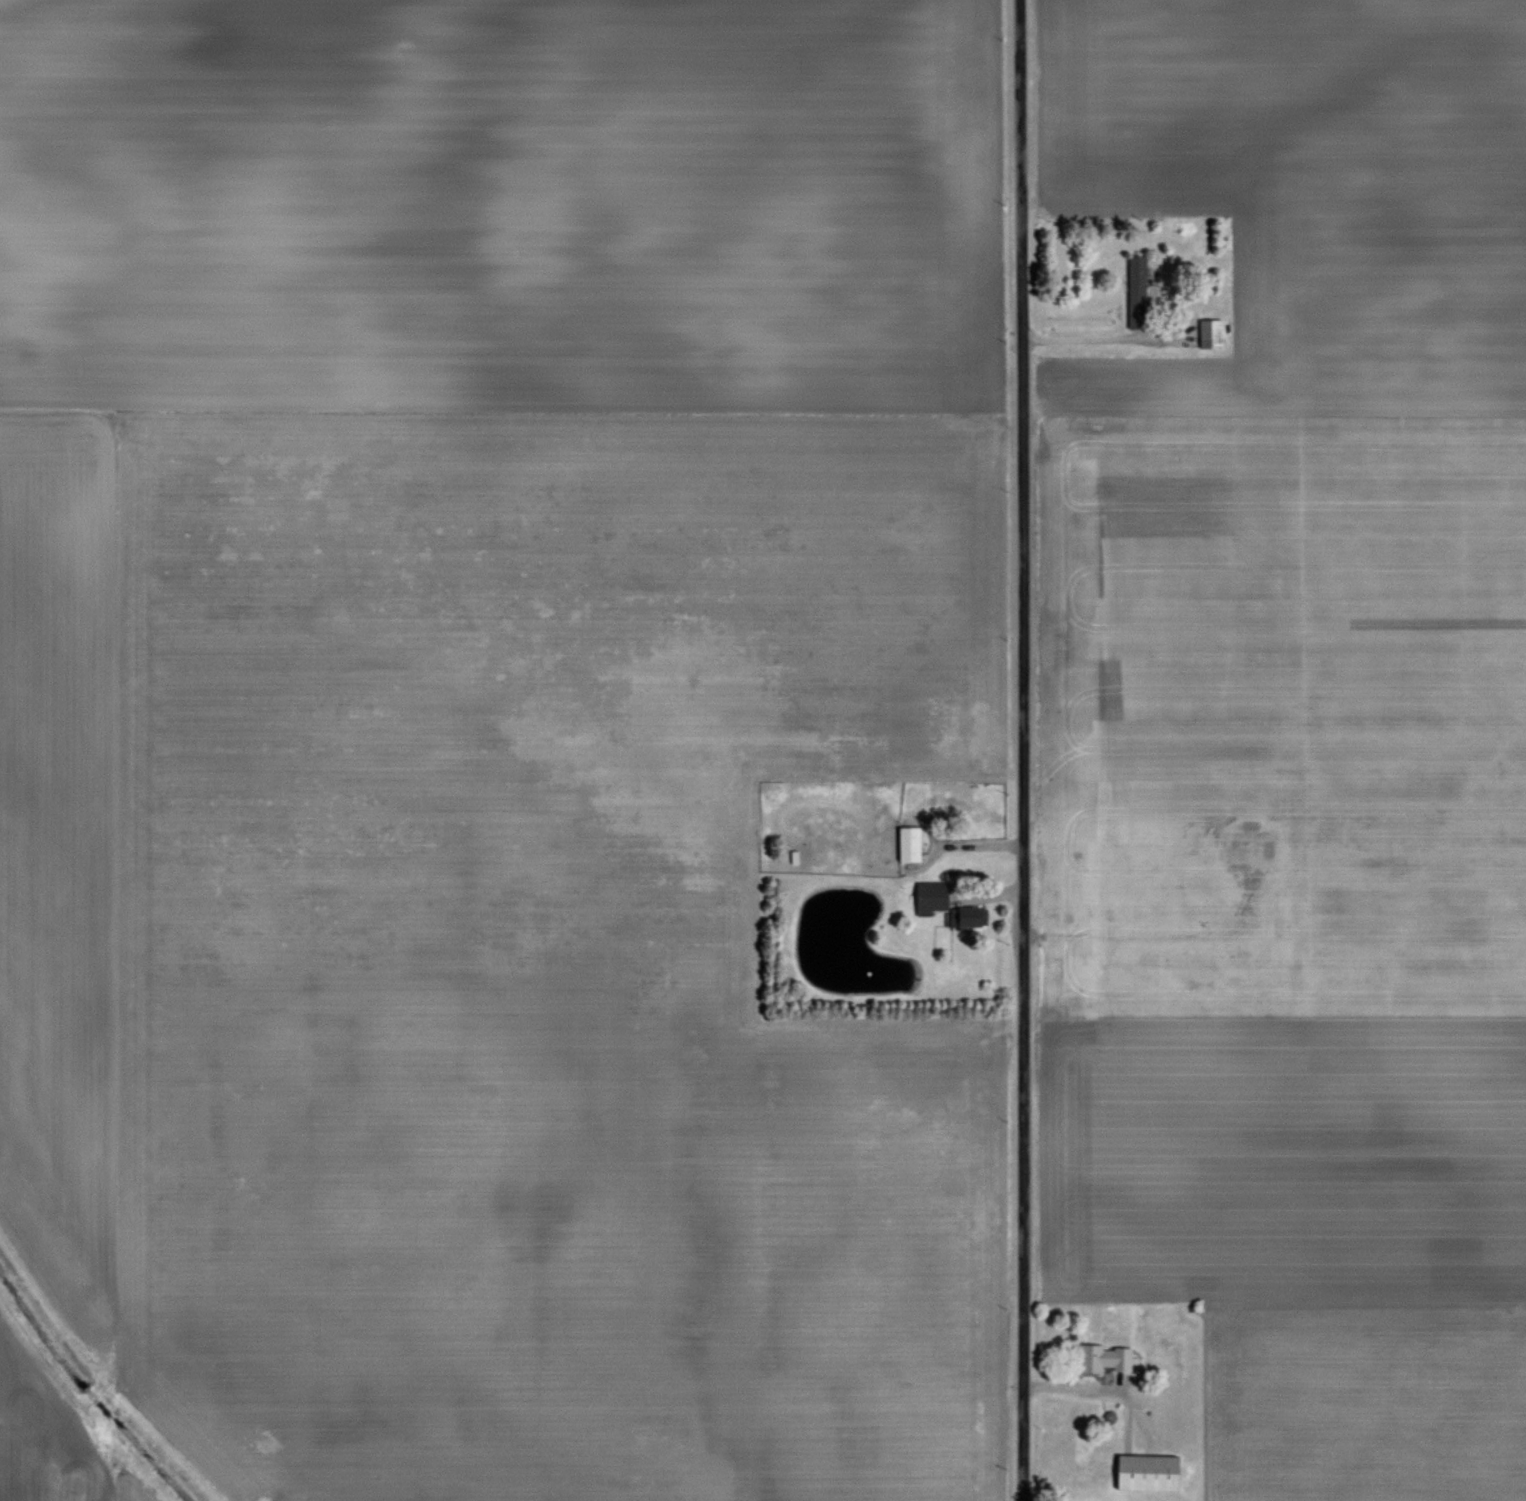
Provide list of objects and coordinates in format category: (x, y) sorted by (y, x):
building: (1138, 287)
building: (1210, 331)
road: (1088, 335)
road: (1018, 750)
building: (909, 841)
building: (931, 893)
building: (1105, 1356)
building: (1148, 1470)

